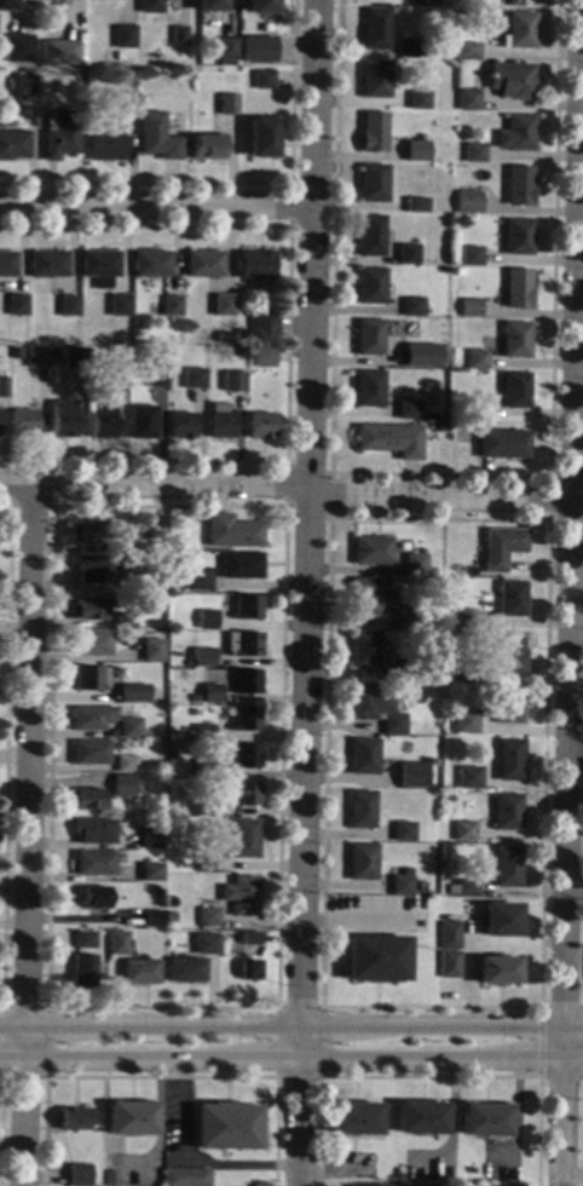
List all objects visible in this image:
building: (34, 0)
building: (425, 2)
building: (7, 5)
building: (149, 6)
building: (210, 6)
building: (261, 6)
building: (374, 29)
building: (519, 31)
building: (125, 38)
building: (179, 38)
building: (18, 48)
building: (226, 48)
building: (259, 48)
building: (410, 48)
building: (468, 51)
building: (62, 52)
building: (119, 57)
building: (93, 71)
building: (262, 80)
building: (374, 80)
building: (510, 81)
building: (23, 86)
building: (144, 99)
building: (419, 100)
building: (467, 100)
building: (128, 103)
building: (227, 105)
building: (100, 128)
building: (373, 132)
building: (60, 134)
building: (516, 134)
building: (157, 138)
building: (261, 138)
building: (13, 145)
building: (106, 148)
building: (207, 148)
building: (416, 151)
building: (473, 152)
building: (373, 183)
road: (236, 184)
building: (518, 186)
building: (468, 202)
road: (156, 206)
building: (415, 206)
road: (289, 228)
building: (371, 236)
building: (518, 237)
building: (406, 254)
building: (471, 257)
building: (7, 264)
building: (47, 264)
building: (151, 264)
building: (203, 264)
building: (254, 265)
building: (99, 267)
building: (458, 272)
building: (370, 286)
building: (516, 288)
building: (224, 296)
building: (17, 305)
building: (119, 305)
building: (69, 306)
building: (172, 306)
building: (411, 307)
building: (469, 309)
building: (264, 324)
building: (223, 336)
building: (241, 336)
building: (369, 338)
building: (515, 340)
road: (287, 342)
building: (239, 352)
building: (16, 353)
building: (53, 355)
building: (262, 356)
building: (421, 356)
building: (35, 357)
building: (75, 358)
building: (119, 359)
building: (475, 359)
building: (156, 378)
building: (194, 379)
building: (232, 381)
building: (2, 387)
building: (369, 390)
building: (514, 391)
building: (406, 410)
building: (475, 411)
building: (62, 419)
building: (220, 421)
building: (142, 422)
building: (23, 424)
building: (103, 425)
building: (181, 426)
building: (261, 426)
building: (440, 426)
building: (389, 441)
building: (502, 444)
road: (329, 473)
road: (440, 474)
road: (548, 482)
road: (287, 485)
road: (8, 506)
road: (283, 506)
road: (328, 520)
building: (88, 532)
building: (232, 532)
building: (157, 545)
building: (500, 548)
building: (111, 549)
building: (370, 551)
building: (239, 565)
building: (415, 565)
building: (94, 569)
building: (196, 578)
building: (155, 582)
road: (306, 592)
road: (571, 592)
building: (369, 598)
building: (512, 599)
building: (247, 608)
building: (87, 610)
building: (451, 614)
building: (405, 616)
building: (126, 618)
building: (206, 620)
building: (464, 620)
building: (92, 643)
building: (244, 645)
building: (151, 650)
building: (364, 650)
building: (510, 655)
building: (202, 658)
building: (408, 672)
building: (469, 673)
building: (91, 678)
building: (246, 681)
building: (132, 693)
building: (210, 695)
building: (509, 706)
building: (375, 708)
building: (91, 718)
building: (246, 719)
building: (466, 720)
building: (169, 722)
building: (475, 725)
building: (128, 727)
building: (203, 733)
building: (171, 739)
road: (564, 739)
building: (90, 753)
road: (5, 754)
building: (244, 756)
building: (363, 756)
road: (576, 759)
building: (510, 760)
building: (126, 764)
building: (204, 770)
building: (410, 773)
building: (471, 777)
building: (396, 778)
building: (122, 785)
building: (244, 793)
building: (86, 800)
building: (204, 807)
building: (360, 810)
building: (508, 812)
building: (93, 831)
building: (403, 831)
building: (464, 831)
road: (25, 836)
building: (150, 837)
building: (244, 837)
building: (362, 863)
building: (93, 864)
building: (207, 865)
building: (508, 868)
building: (151, 873)
building: (406, 874)
building: (400, 886)
building: (467, 888)
road: (576, 894)
building: (241, 896)
building: (94, 898)
building: (420, 902)
building: (208, 917)
building: (151, 919)
road: (360, 921)
building: (502, 921)
building: (449, 935)
building: (249, 939)
building: (83, 940)
building: (117, 944)
building: (204, 945)
building: (376, 960)
building: (449, 965)
building: (185, 971)
building: (249, 971)
building: (498, 971)
building: (82, 972)
building: (139, 972)
road: (561, 1007)
road: (1, 1008)
road: (291, 1025)
road: (539, 1042)
road: (291, 1061)
road: (160, 1077)
road: (276, 1077)
road: (429, 1077)
road: (560, 1077)
road: (105, 1111)
building: (131, 1118)
building: (421, 1118)
building: (73, 1119)
building: (356, 1119)
building: (485, 1121)
building: (226, 1127)
road: (157, 1145)
road: (582, 1157)
road: (189, 1164)
building: (77, 1174)
building: (111, 1178)
building: (185, 1178)
road: (573, 1179)
building: (364, 1185)

